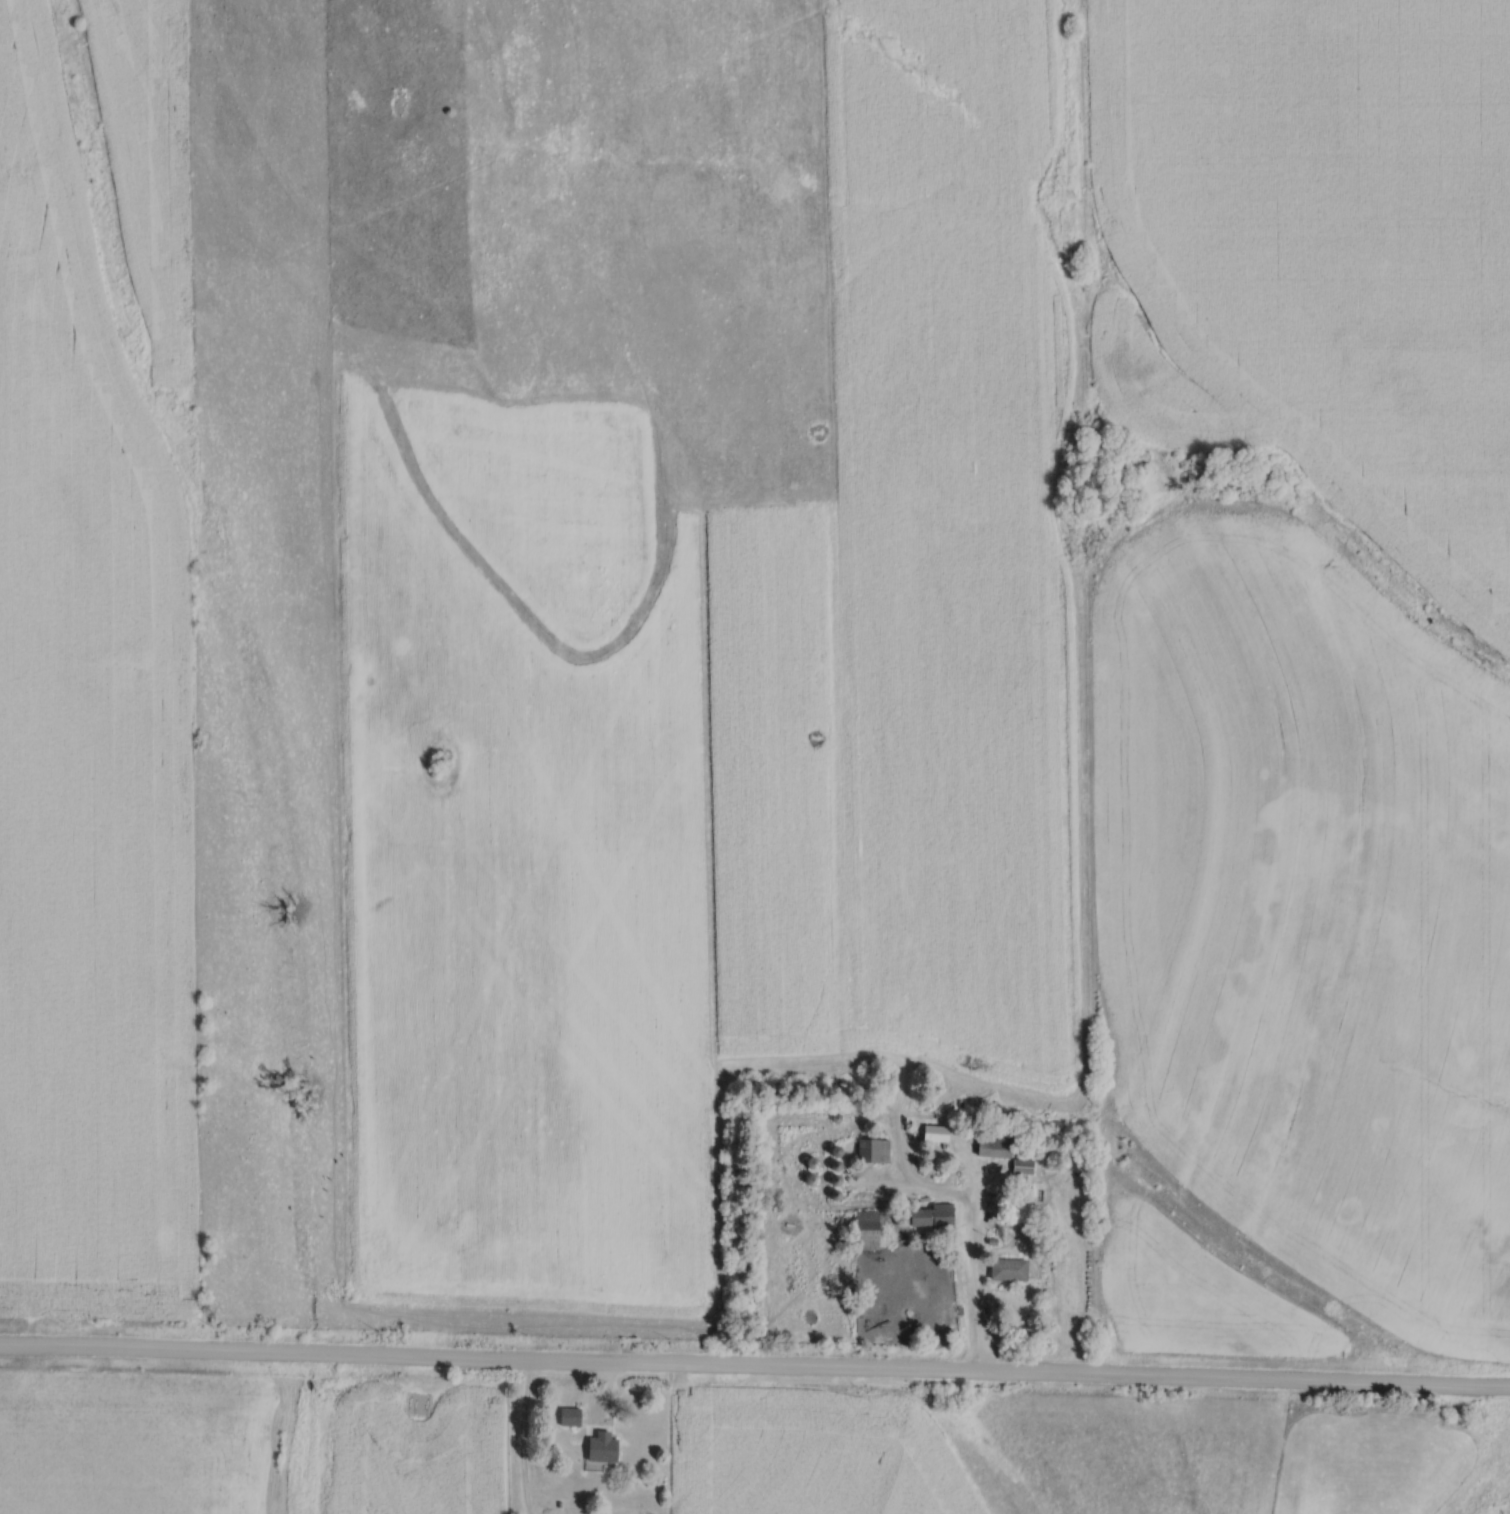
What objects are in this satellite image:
building: (938, 1131)
building: (998, 1142)
building: (876, 1148)
building: (935, 1214)
building: (871, 1227)
building: (1011, 1266)
road: (980, 1285)
road: (755, 1363)
building: (573, 1415)
road: (529, 1435)
building: (605, 1447)

